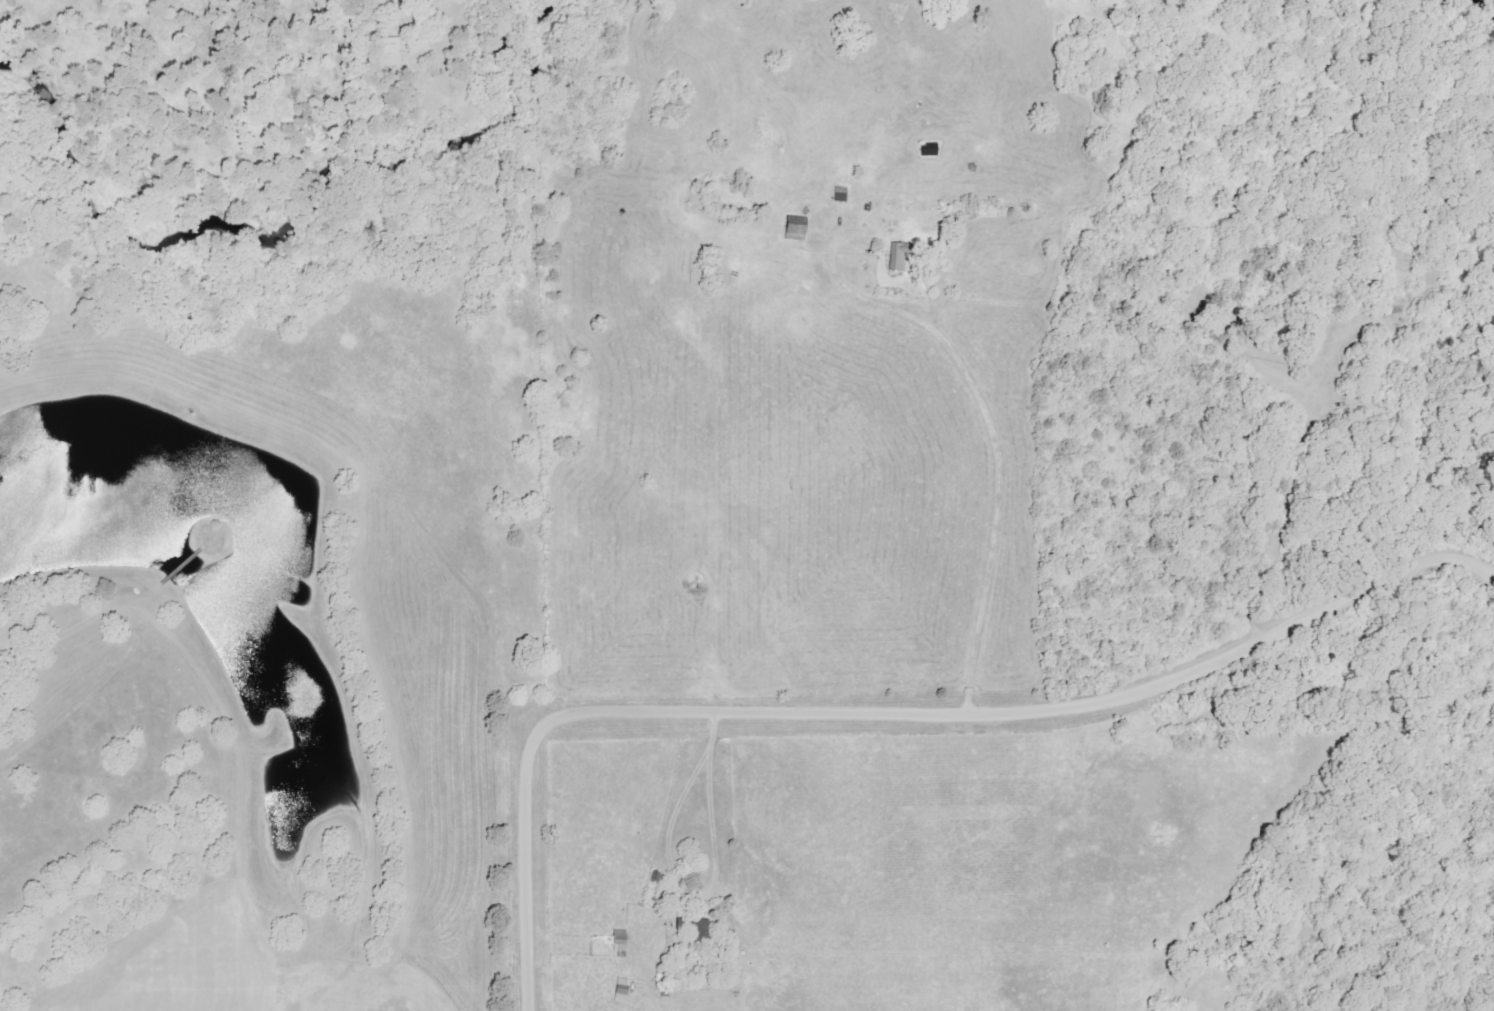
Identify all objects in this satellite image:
building: (799, 229)
building: (899, 257)
road: (988, 439)
road: (890, 711)
road: (711, 892)
building: (703, 930)
building: (622, 941)

